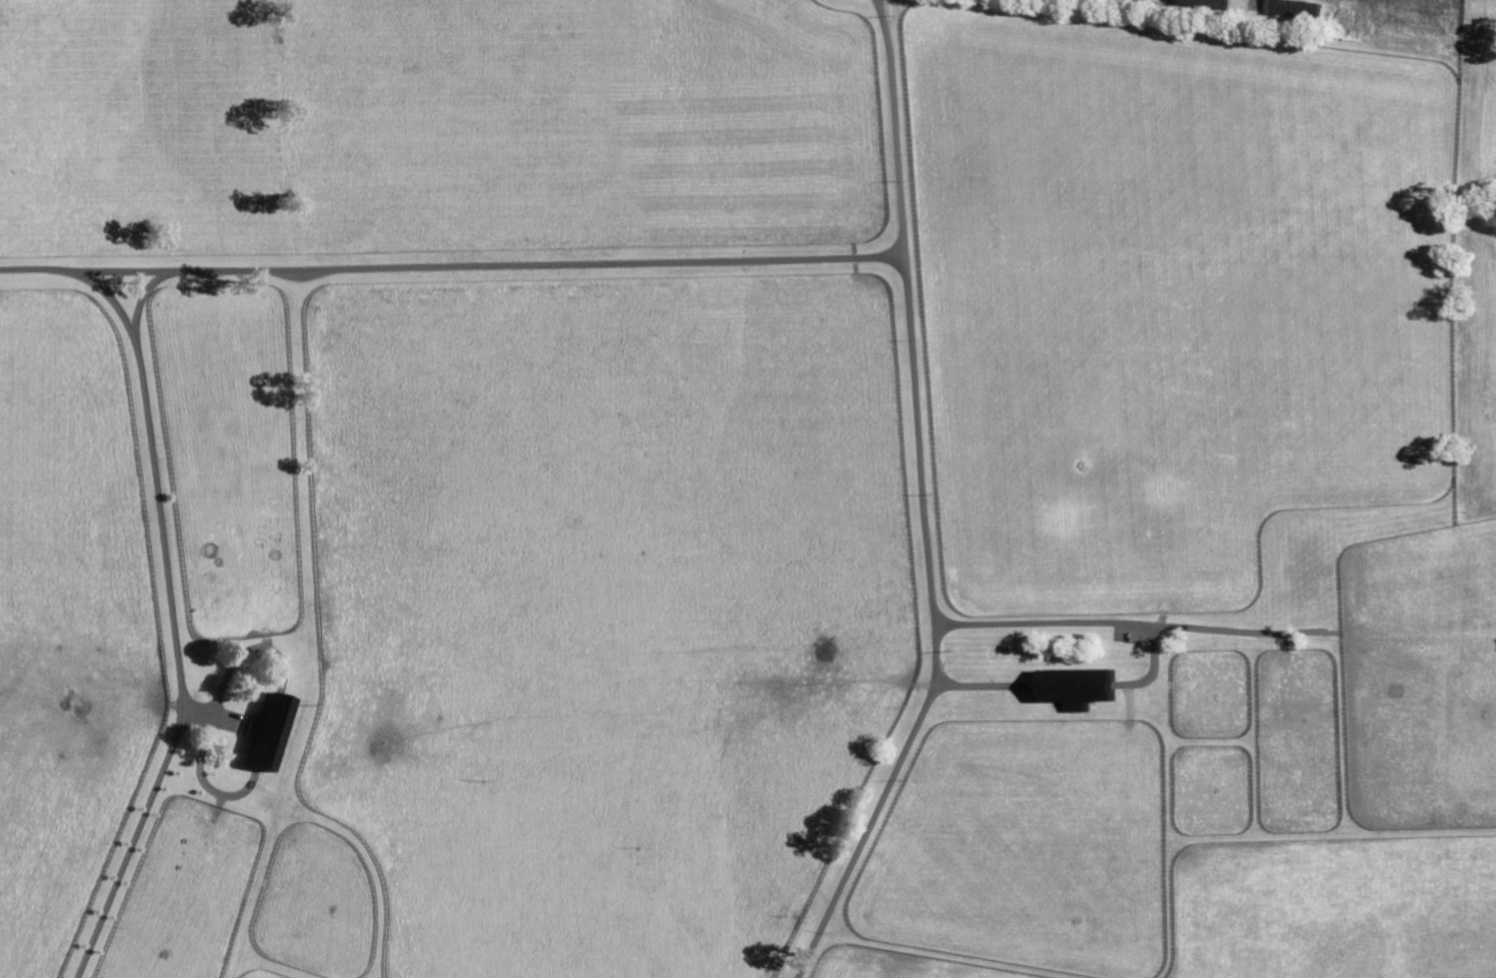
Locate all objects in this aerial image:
building: (1298, 9)
road: (453, 267)
road: (135, 346)
road: (926, 502)
road: (1119, 622)
road: (244, 652)
road: (180, 674)
building: (1085, 687)
building: (271, 733)
road: (201, 768)
road: (208, 904)

